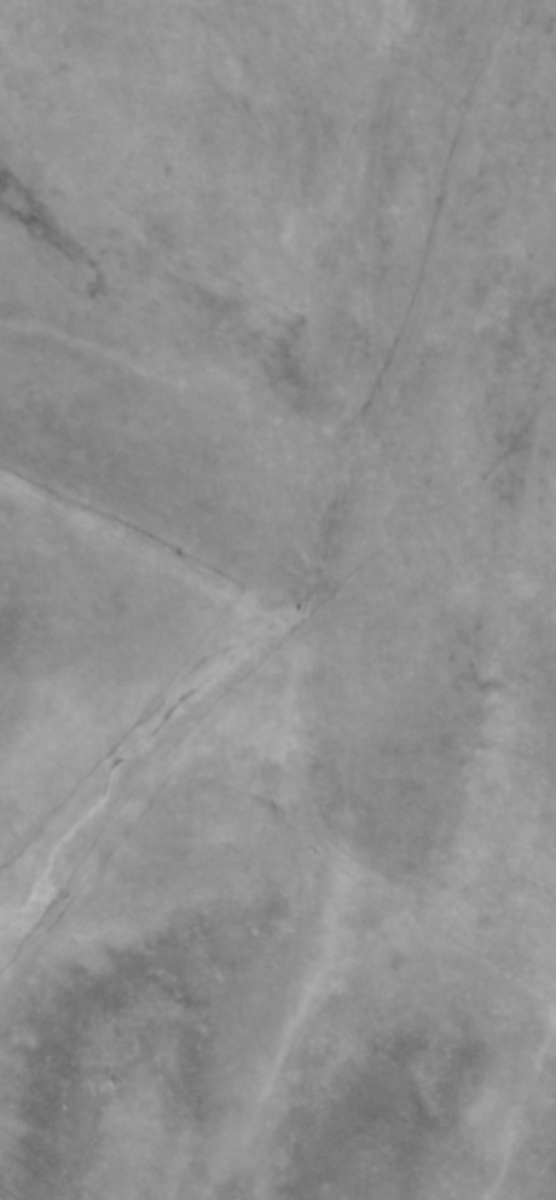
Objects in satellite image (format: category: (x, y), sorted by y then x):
road: (387, 75)

